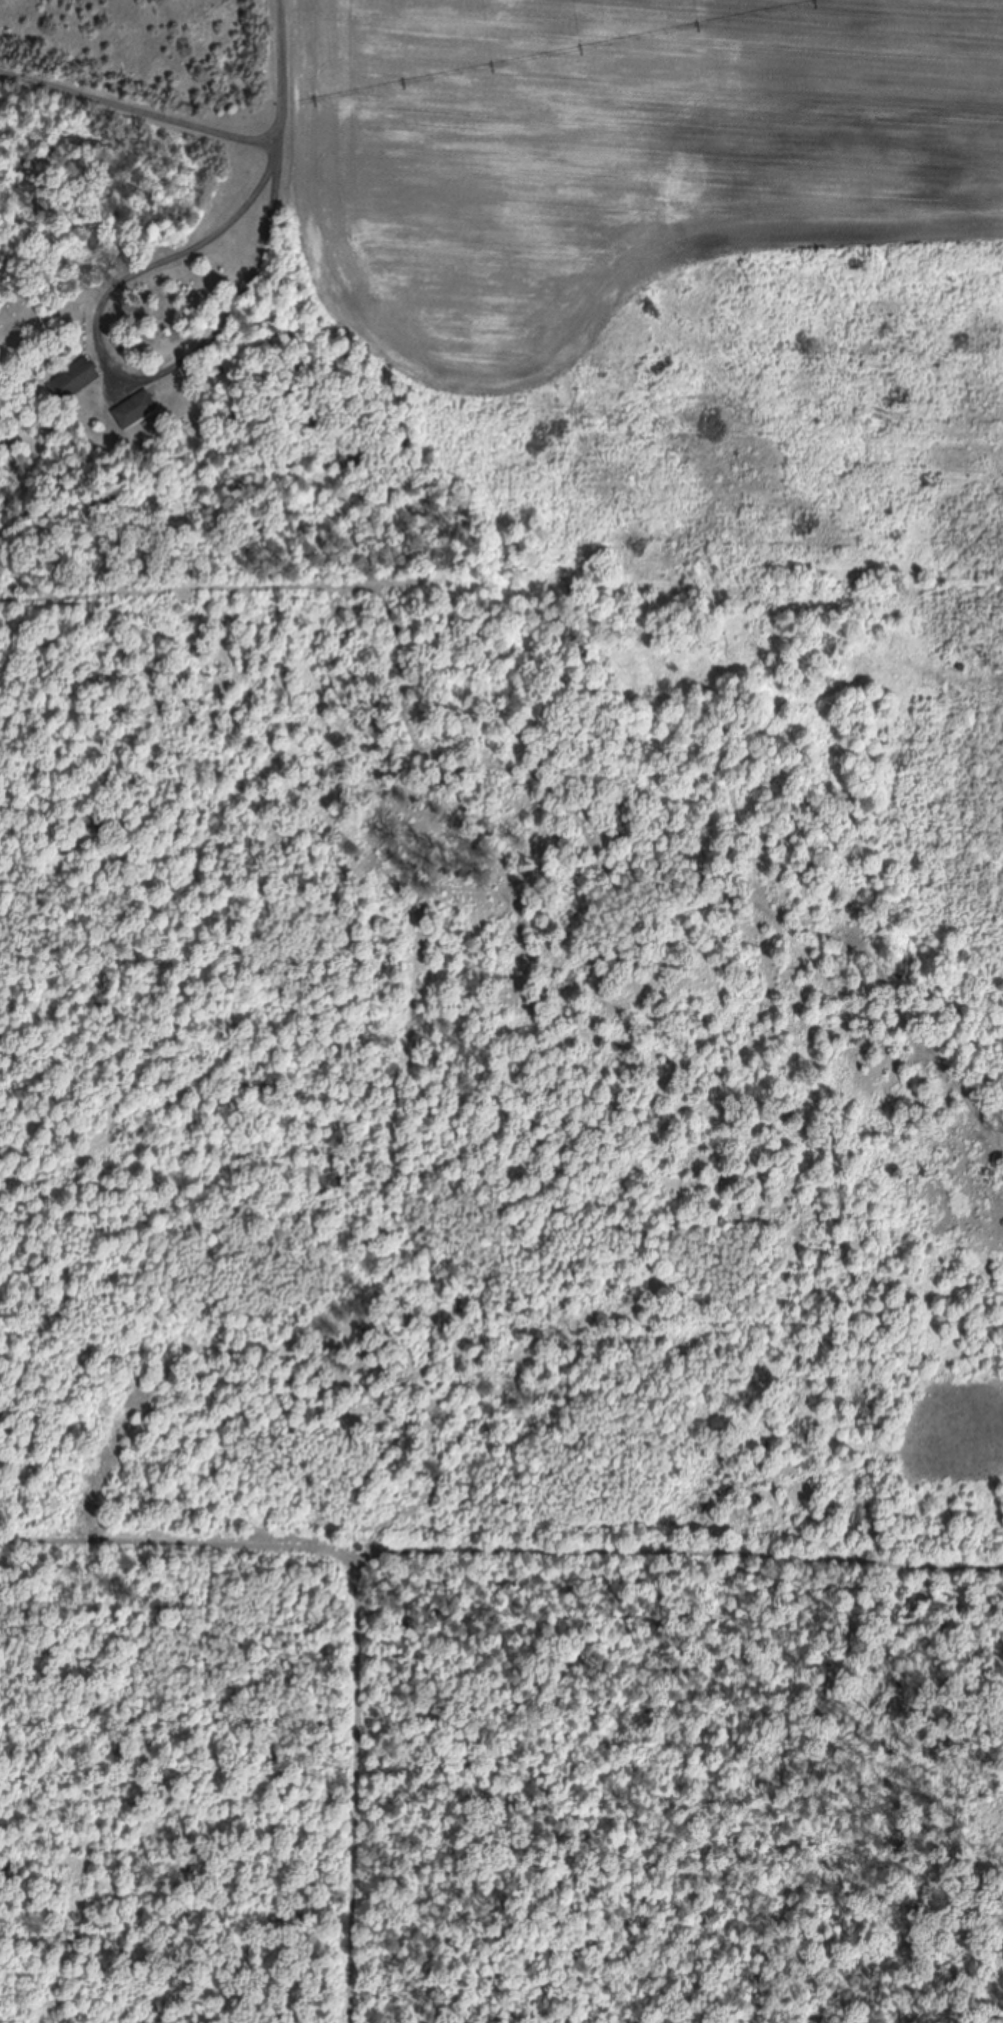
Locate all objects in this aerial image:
road: (139, 78)
road: (281, 101)
road: (137, 258)
building: (74, 379)
building: (135, 410)
road: (202, 602)
road: (179, 1543)
road: (445, 1556)

